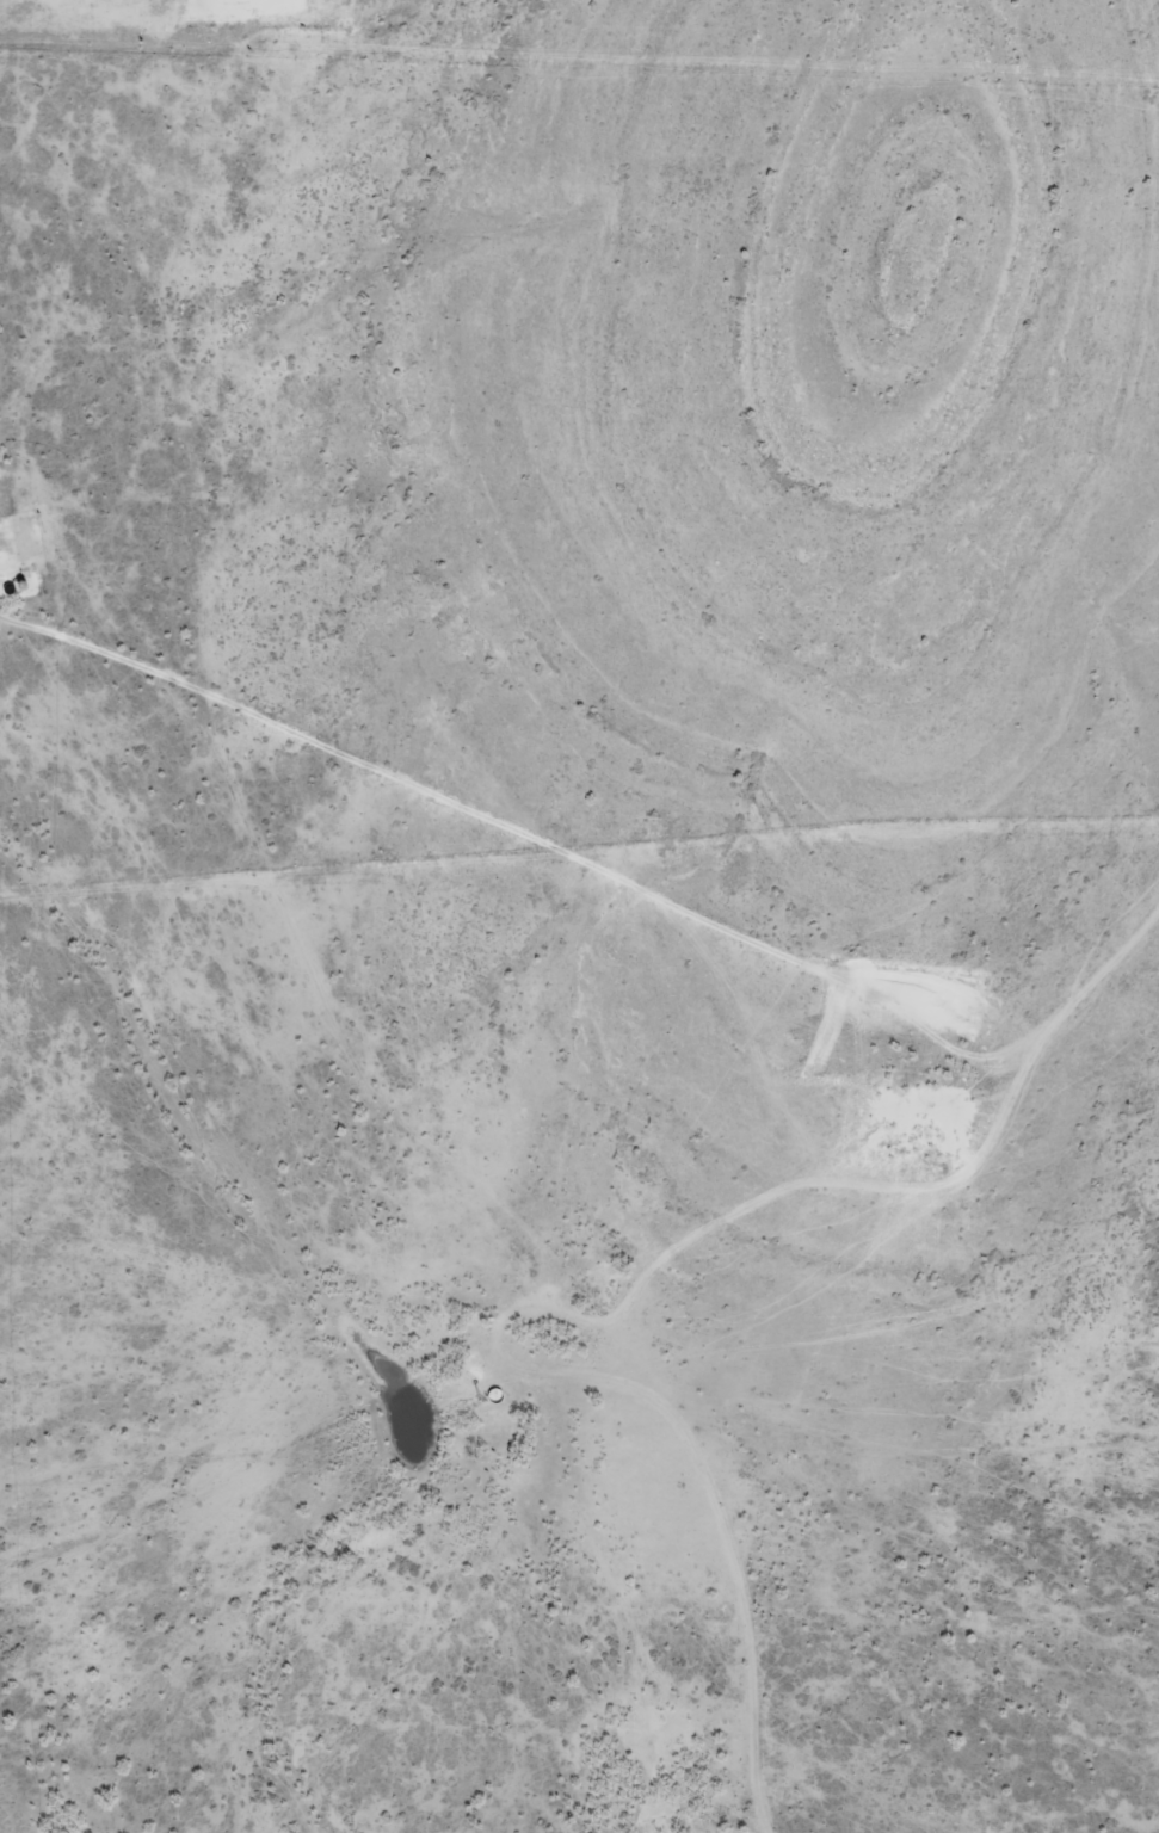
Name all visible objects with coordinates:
road: (664, 1284)
road: (884, 1350)

